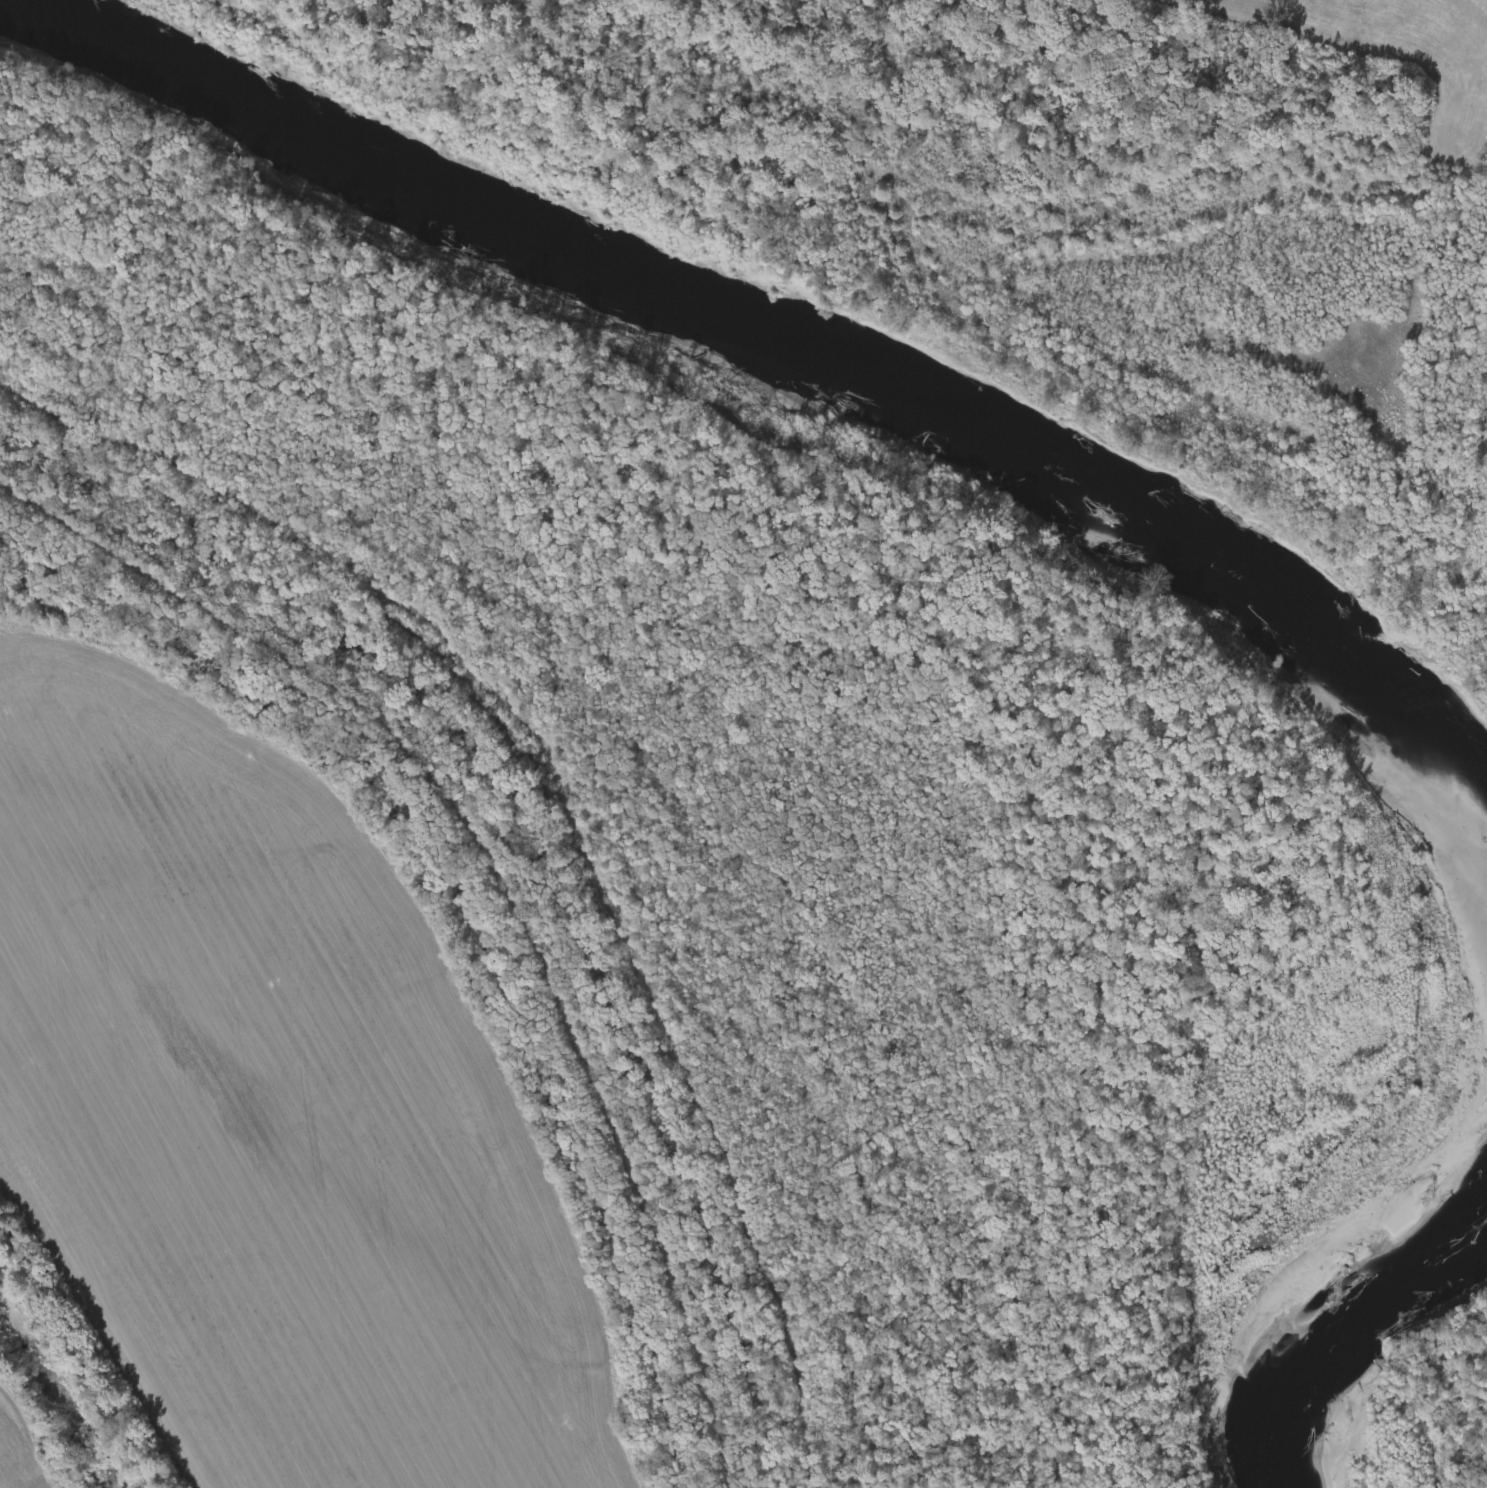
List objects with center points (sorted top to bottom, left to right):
river: (1102, 496)
crop: (275, 1113)
crop: (49, 1483)

